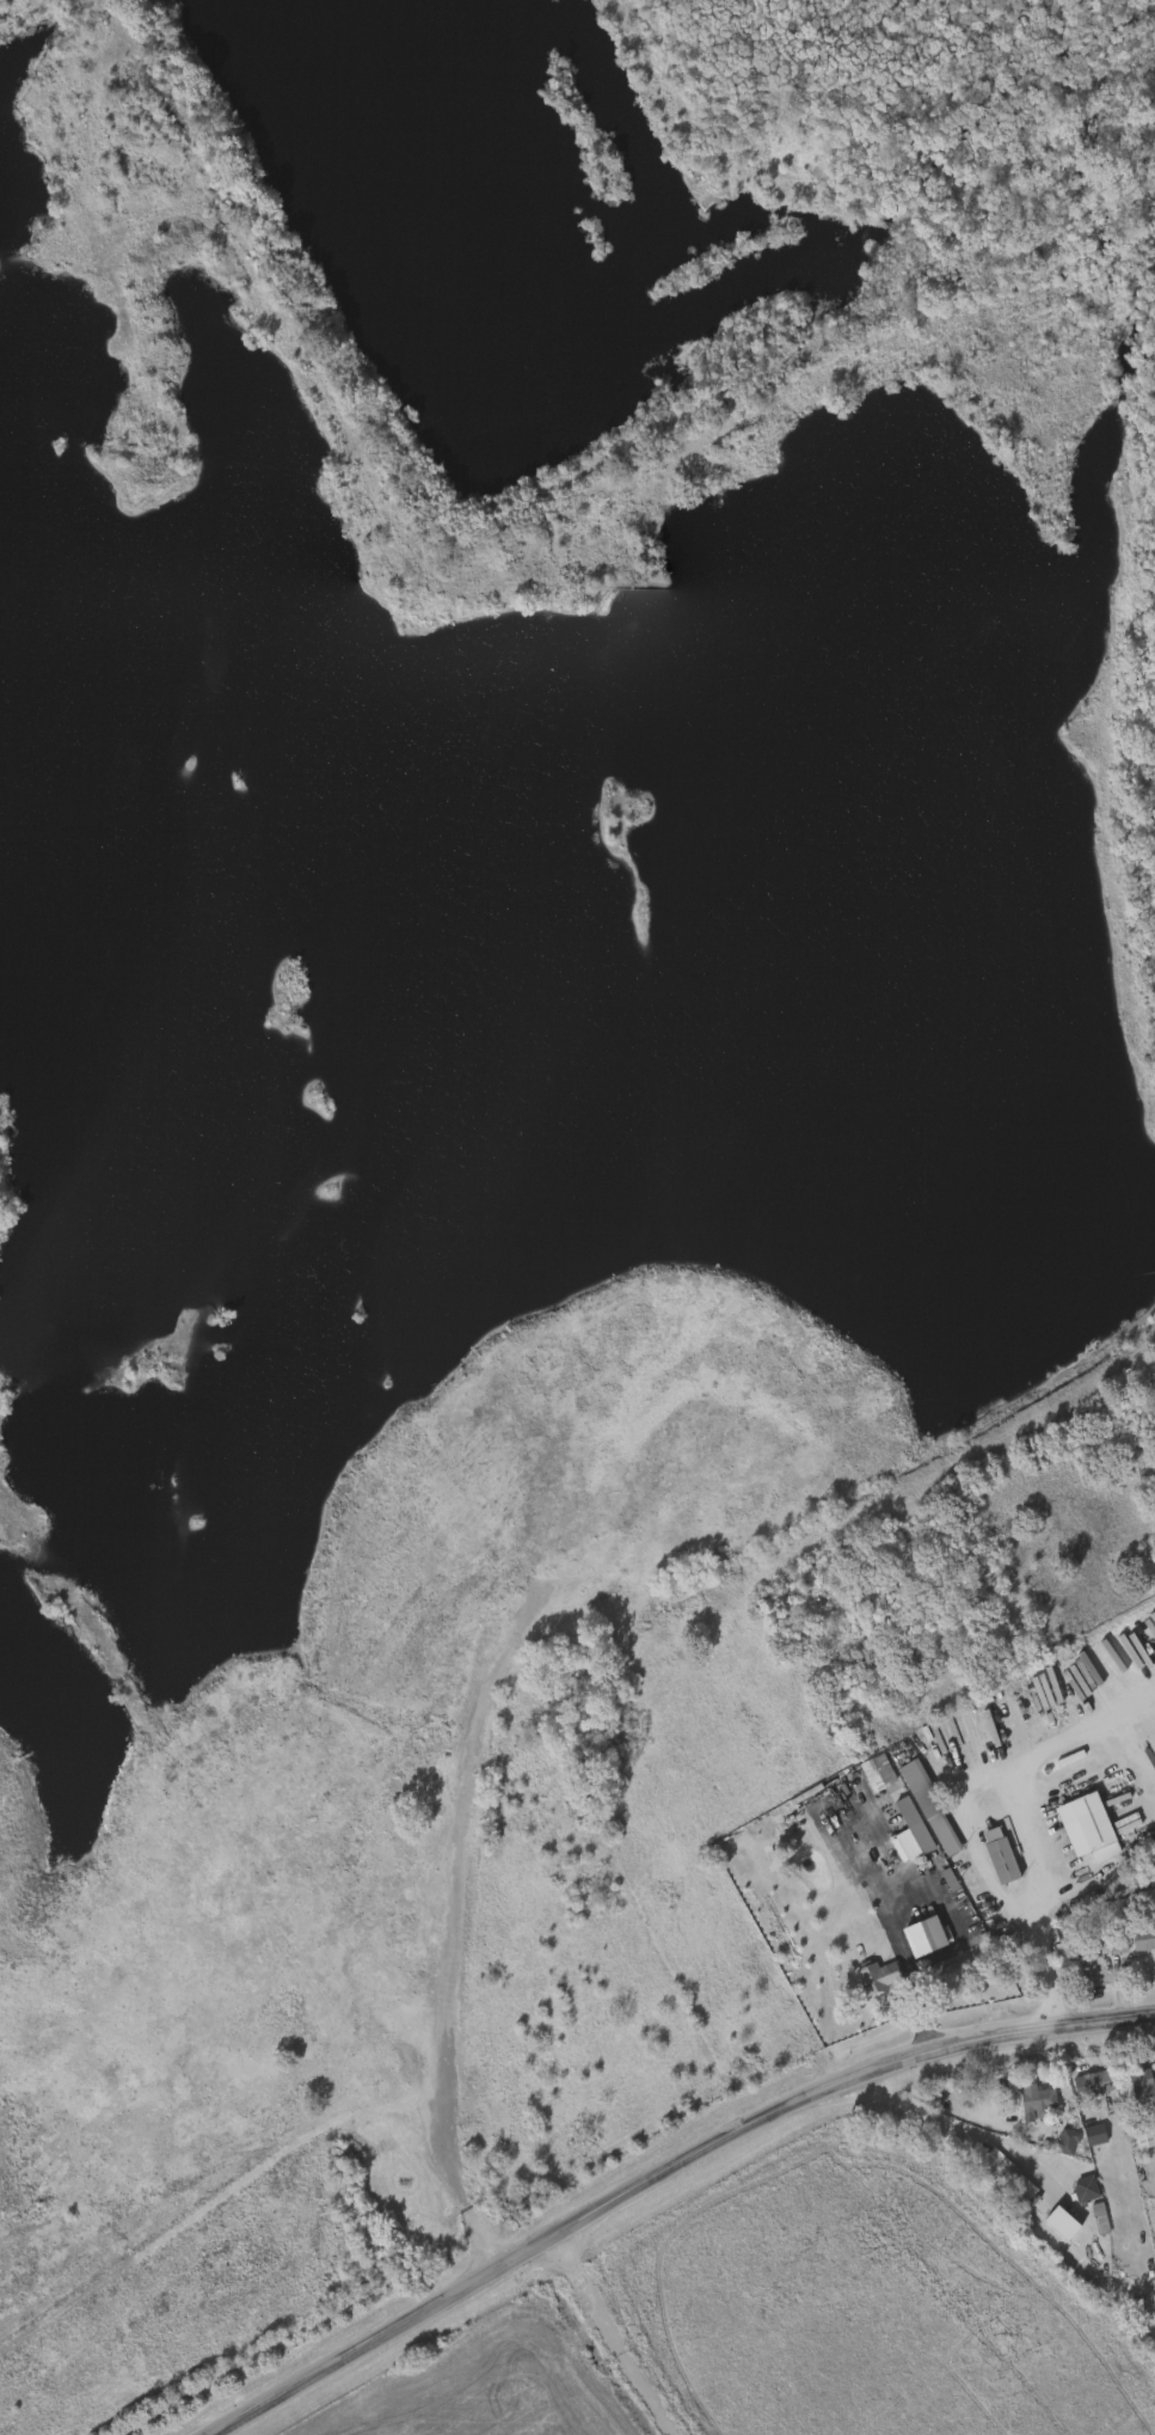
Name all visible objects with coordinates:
road: (572, 553)
building: (878, 1773)
building: (929, 1807)
road: (1019, 1822)
building: (1086, 1827)
building: (910, 1834)
building: (999, 1854)
building: (923, 1939)
building: (1126, 1940)
road: (895, 1943)
building: (878, 1976)
building: (1139, 2080)
building: (1091, 2091)
building: (1036, 2099)
road: (440, 2116)
building: (1094, 2134)
building: (1141, 2135)
building: (1067, 2141)
road: (663, 2172)
building: (1012, 2173)
building: (1086, 2189)
building: (1034, 2196)
building: (1100, 2219)
building: (1063, 2223)
road: (613, 2336)

